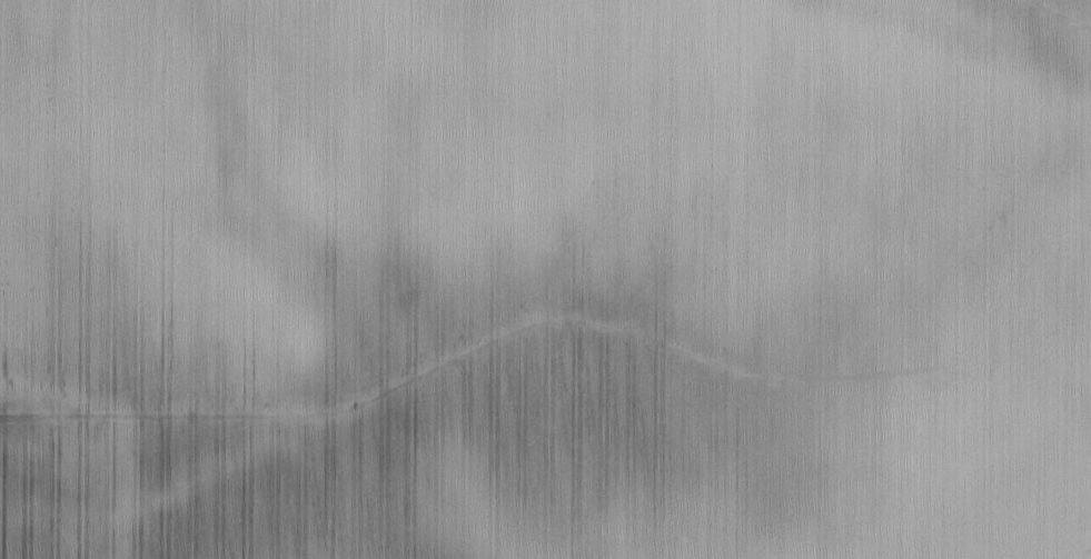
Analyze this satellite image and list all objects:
road: (139, 279)

